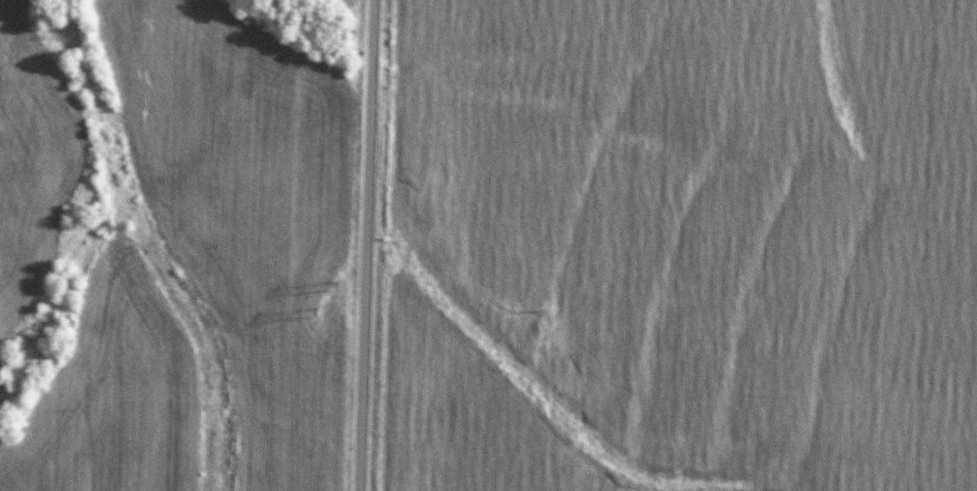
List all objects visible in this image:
road: (364, 245)
power tower: (330, 284)
power tower: (312, 312)

